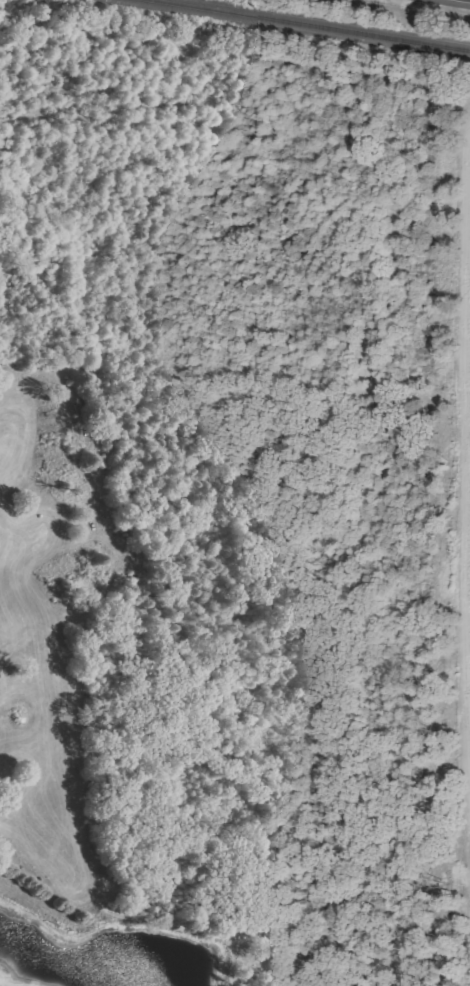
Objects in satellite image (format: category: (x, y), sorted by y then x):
railway: (315, 24)

